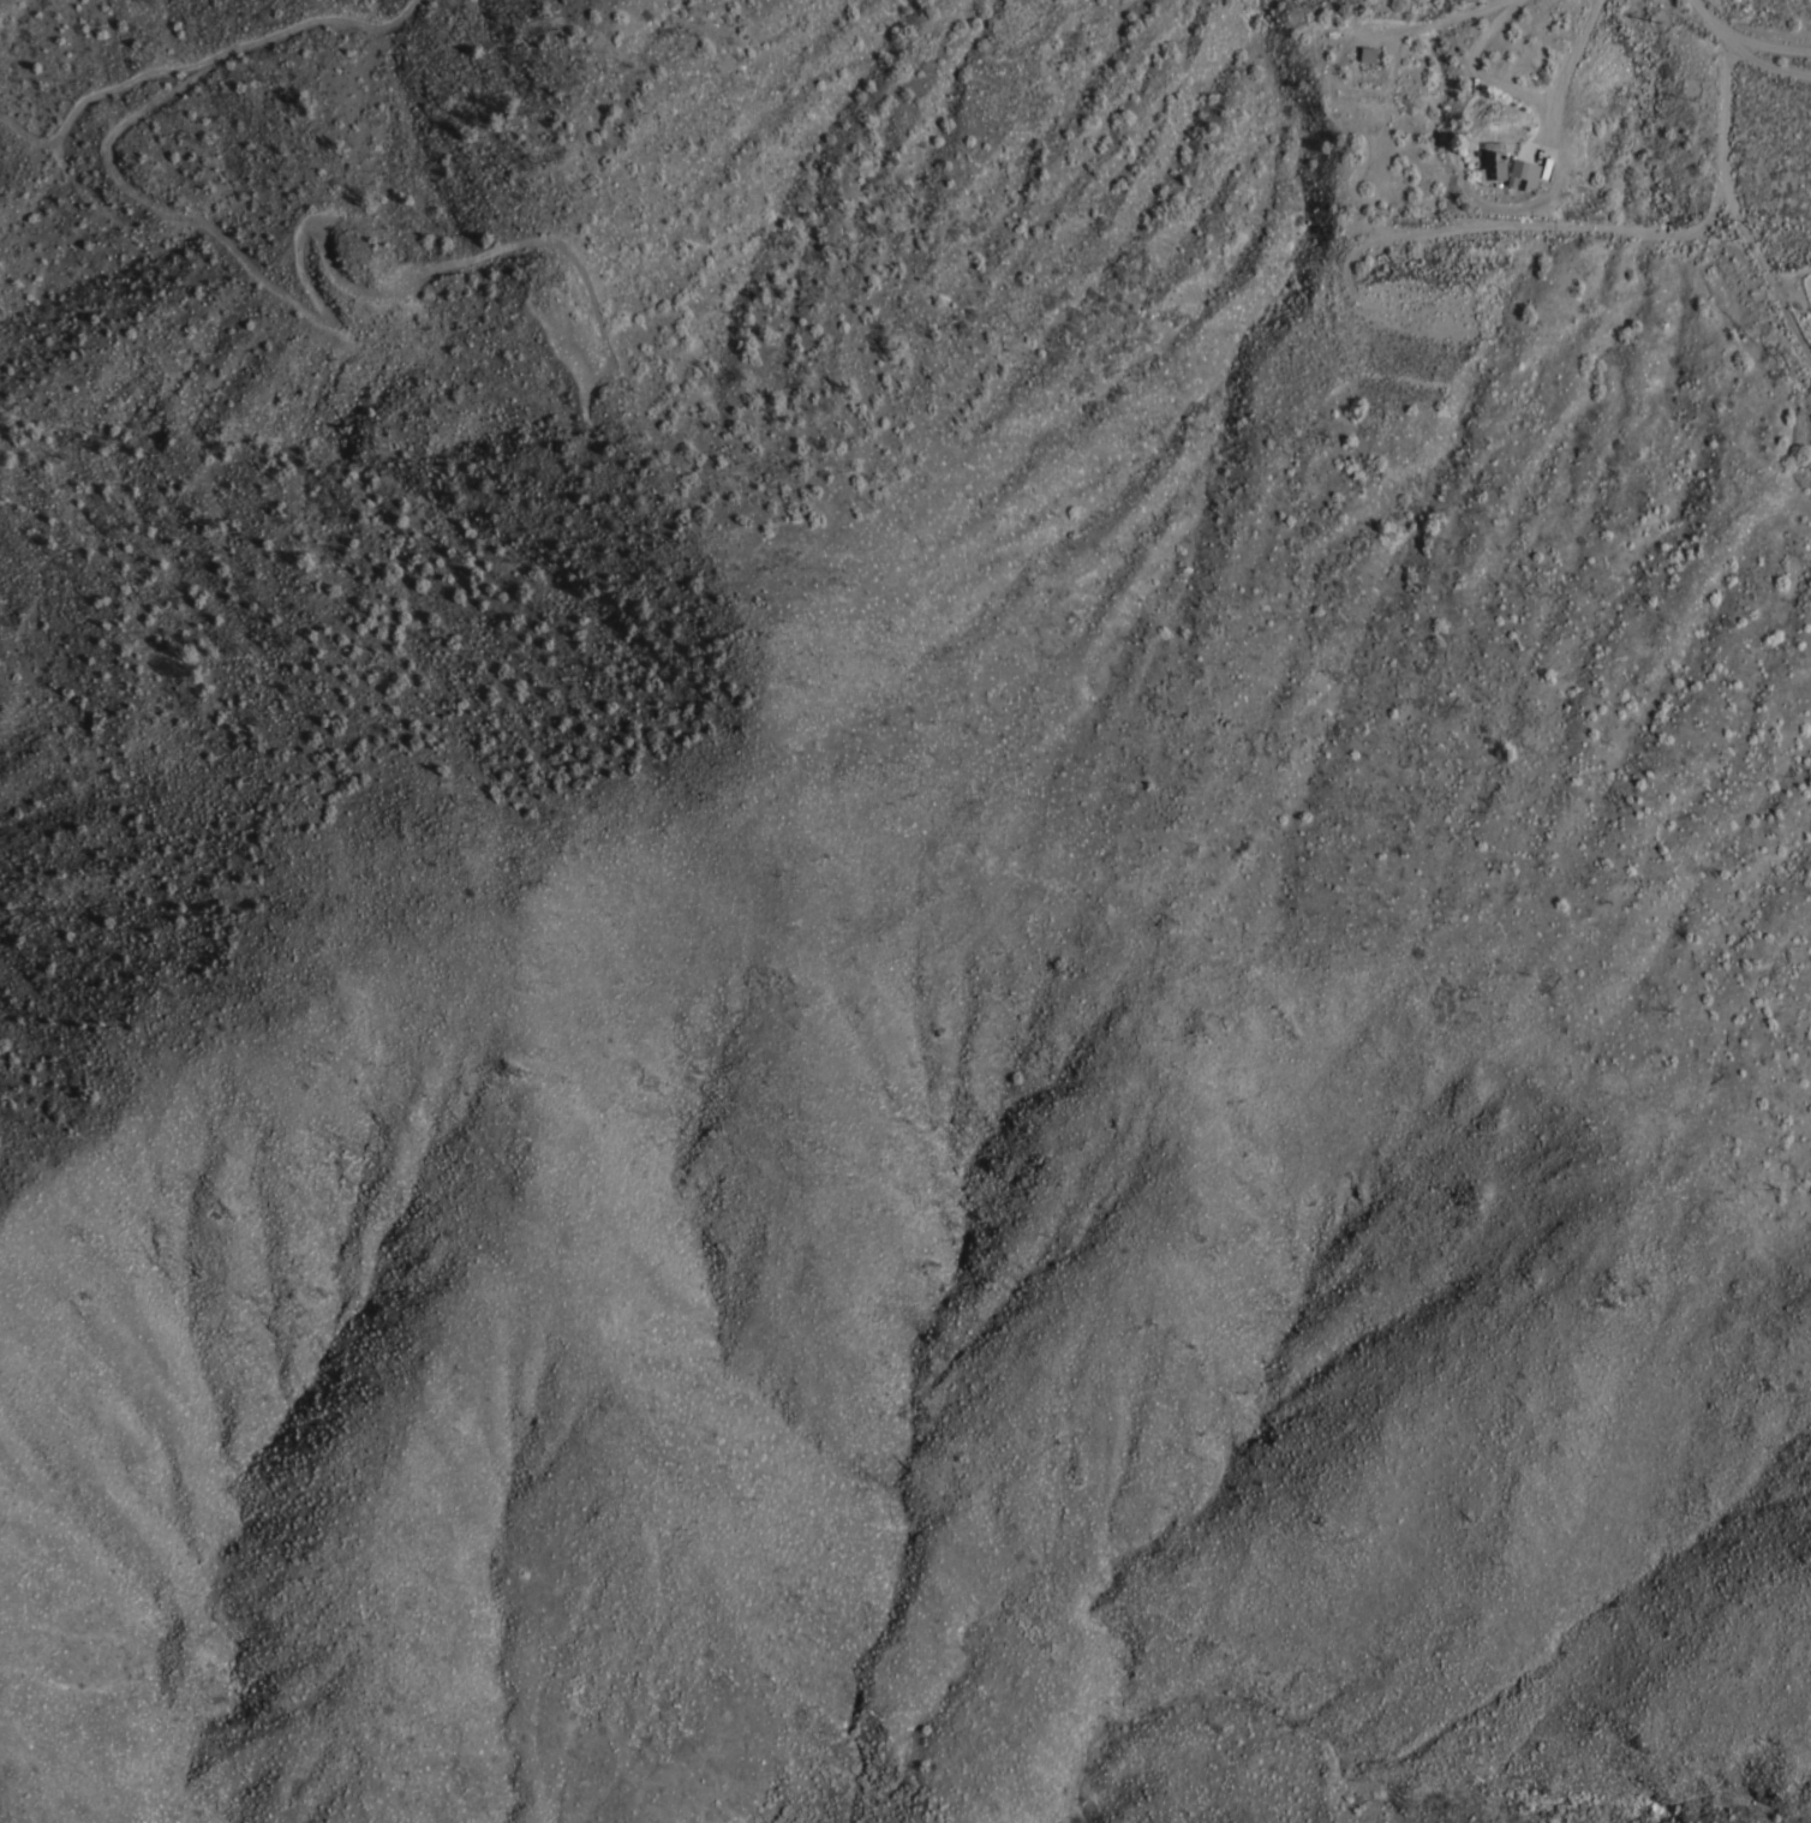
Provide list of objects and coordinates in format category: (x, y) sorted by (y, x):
road: (1453, 17)
road: (1745, 40)
building: (1367, 53)
road: (1344, 83)
road: (1525, 88)
road: (1553, 116)
building: (1493, 163)
road: (1722, 165)
building: (1523, 171)
road: (1809, 352)

